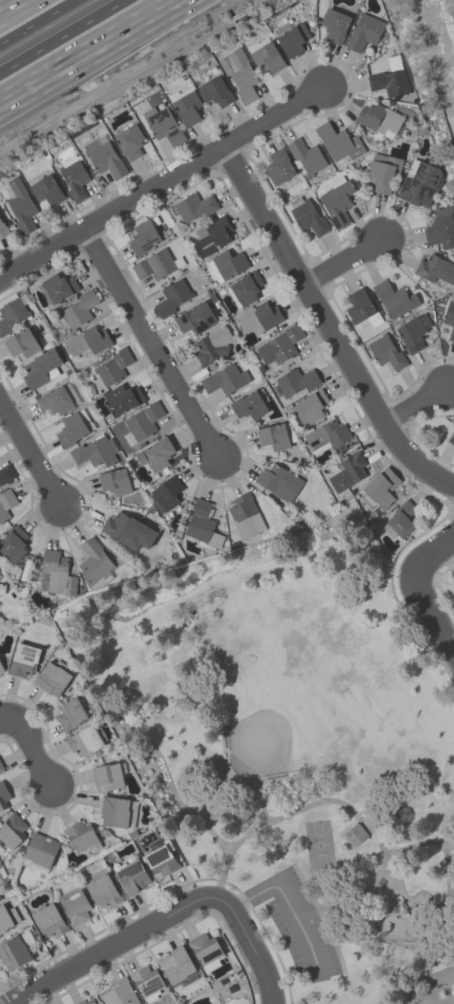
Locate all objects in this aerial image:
road: (15, 8)
road: (42, 24)
building: (335, 24)
building: (364, 32)
road: (62, 36)
building: (293, 39)
road: (85, 52)
building: (267, 57)
building: (239, 74)
building: (390, 78)
building: (215, 91)
building: (187, 107)
building: (379, 119)
building: (163, 124)
building: (129, 141)
building: (338, 142)
building: (306, 155)
building: (103, 156)
building: (279, 166)
building: (382, 171)
building: (74, 177)
road: (163, 181)
building: (419, 183)
building: (46, 188)
building: (337, 201)
building: (19, 203)
building: (192, 206)
building: (306, 215)
building: (441, 228)
building: (3, 229)
building: (145, 236)
building: (212, 237)
road: (343, 258)
building: (154, 264)
building: (226, 265)
building: (435, 268)
building: (59, 287)
building: (246, 287)
building: (172, 297)
building: (394, 298)
building: (79, 308)
building: (361, 309)
building: (12, 313)
building: (450, 314)
building: (195, 318)
building: (258, 318)
road: (330, 325)
building: (413, 332)
building: (86, 342)
building: (21, 343)
building: (212, 345)
building: (279, 345)
road: (152, 347)
building: (386, 352)
building: (41, 368)
building: (111, 368)
building: (224, 379)
building: (295, 381)
building: (122, 398)
building: (57, 399)
road: (417, 401)
building: (250, 404)
building: (309, 407)
building: (142, 422)
building: (74, 428)
building: (275, 436)
building: (327, 436)
building: (451, 438)
building: (95, 451)
building: (156, 453)
road: (31, 458)
building: (348, 472)
building: (5, 473)
building: (114, 481)
building: (278, 481)
building: (379, 488)
building: (166, 493)
building: (6, 503)
building: (245, 516)
building: (400, 520)
building: (202, 525)
building: (128, 530)
building: (13, 543)
building: (94, 563)
building: (57, 572)
building: (452, 574)
building: (1, 588)
road: (421, 589)
building: (23, 659)
building: (1, 669)
building: (52, 678)
building: (68, 713)
road: (6, 717)
building: (84, 740)
road: (33, 753)
park: (292, 753)
building: (1, 768)
building: (108, 775)
building: (3, 795)
road: (323, 800)
building: (117, 811)
building: (11, 831)
building: (81, 836)
road: (347, 841)
building: (39, 852)
building: (160, 860)
building: (131, 877)
building: (102, 889)
building: (0, 898)
building: (0, 899)
road: (288, 903)
road: (339, 904)
building: (74, 905)
road: (326, 912)
road: (322, 916)
building: (7, 917)
building: (49, 920)
road: (250, 943)
road: (105, 949)
road: (396, 949)
building: (15, 950)
building: (206, 951)
building: (176, 964)
building: (147, 982)
building: (118, 993)
building: (86, 1002)

